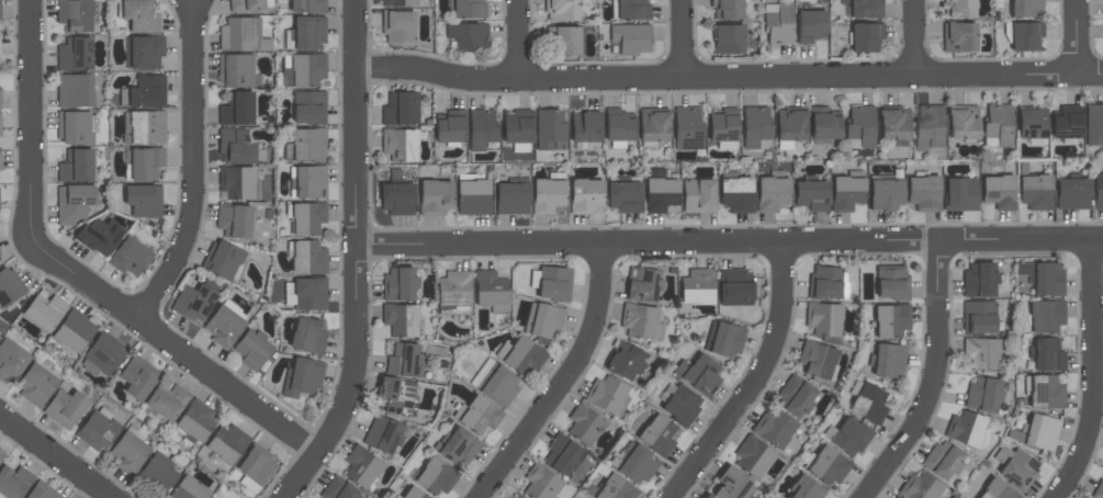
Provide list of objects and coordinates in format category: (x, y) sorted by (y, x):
building: (397, 2)
building: (247, 5)
building: (308, 5)
building: (1026, 8)
building: (469, 9)
building: (727, 9)
building: (864, 9)
building: (958, 9)
building: (561, 10)
building: (630, 10)
building: (0, 11)
building: (75, 15)
building: (139, 15)
building: (778, 23)
building: (811, 25)
building: (398, 26)
building: (306, 33)
building: (243, 35)
building: (468, 35)
building: (1025, 35)
road: (685, 37)
building: (866, 37)
road: (912, 37)
building: (958, 37)
road: (1079, 37)
building: (631, 38)
road: (518, 39)
building: (566, 39)
building: (728, 39)
building: (145, 52)
building: (75, 54)
building: (0, 66)
building: (305, 69)
building: (236, 70)
road: (728, 75)
building: (75, 90)
building: (145, 92)
building: (0, 98)
building: (309, 107)
building: (237, 109)
building: (401, 109)
road: (31, 117)
building: (963, 123)
building: (1032, 123)
building: (1066, 123)
building: (824, 124)
building: (893, 124)
building: (0, 125)
building: (722, 125)
building: (790, 125)
building: (998, 125)
building: (1094, 125)
building: (653, 126)
building: (928, 126)
building: (74, 127)
building: (146, 127)
building: (450, 127)
building: (585, 127)
building: (687, 127)
building: (756, 127)
building: (860, 127)
building: (481, 128)
building: (619, 128)
building: (517, 129)
building: (550, 129)
building: (306, 145)
building: (399, 145)
building: (237, 147)
building: (0, 159)
building: (145, 163)
building: (76, 166)
road: (192, 166)
building: (308, 182)
building: (237, 183)
building: (999, 192)
building: (1035, 192)
building: (1098, 192)
building: (846, 193)
building: (924, 193)
building: (660, 194)
building: (736, 194)
building: (772, 194)
building: (885, 194)
building: (960, 194)
building: (1072, 194)
building: (548, 195)
building: (811, 195)
building: (585, 196)
building: (623, 196)
building: (698, 196)
building: (435, 197)
building: (473, 197)
building: (396, 199)
building: (511, 199)
building: (144, 201)
building: (72, 203)
building: (307, 218)
building: (234, 220)
building: (99, 236)
road: (729, 246)
building: (130, 257)
building: (306, 257)
building: (222, 259)
road: (354, 260)
building: (1043, 278)
building: (979, 280)
building: (825, 282)
building: (891, 282)
building: (554, 283)
building: (399, 284)
building: (642, 285)
building: (9, 286)
building: (697, 286)
building: (734, 287)
building: (454, 288)
building: (492, 292)
building: (305, 294)
building: (193, 303)
building: (44, 313)
building: (1044, 316)
building: (979, 317)
building: (823, 319)
building: (401, 320)
building: (543, 320)
building: (891, 320)
building: (641, 322)
building: (223, 327)
building: (74, 331)
building: (307, 336)
building: (724, 339)
road: (171, 346)
building: (251, 350)
building: (981, 354)
building: (520, 355)
building: (1047, 355)
building: (101, 356)
building: (11, 361)
building: (405, 361)
building: (624, 361)
building: (817, 361)
building: (888, 361)
building: (699, 374)
road: (1095, 376)
building: (138, 377)
building: (303, 377)
road: (567, 381)
road: (931, 381)
road: (755, 382)
building: (495, 383)
building: (36, 384)
building: (1045, 393)
building: (983, 394)
building: (607, 395)
building: (395, 396)
building: (796, 396)
building: (167, 401)
building: (869, 403)
building: (682, 405)
building: (65, 408)
building: (477, 416)
building: (195, 420)
building: (584, 425)
building: (773, 428)
building: (967, 429)
building: (99, 430)
building: (1036, 432)
building: (382, 434)
building: (657, 434)
building: (847, 437)
building: (226, 443)
building: (457, 446)
building: (130, 452)
building: (1, 454)
building: (562, 455)
road: (53, 457)
building: (753, 457)
building: (943, 460)
building: (634, 463)
building: (828, 465)
building: (361, 467)
building: (256, 468)
building: (1018, 469)
building: (158, 474)
building: (436, 476)
building: (13, 482)
building: (541, 483)
building: (733, 485)
building: (921, 487)
building: (614, 488)
building: (188, 489)
building: (806, 489)
building: (1098, 489)
building: (338, 490)
building: (998, 490)
building: (42, 491)
building: (413, 494)
building: (516, 496)
building: (704, 496)
building: (893, 497)

